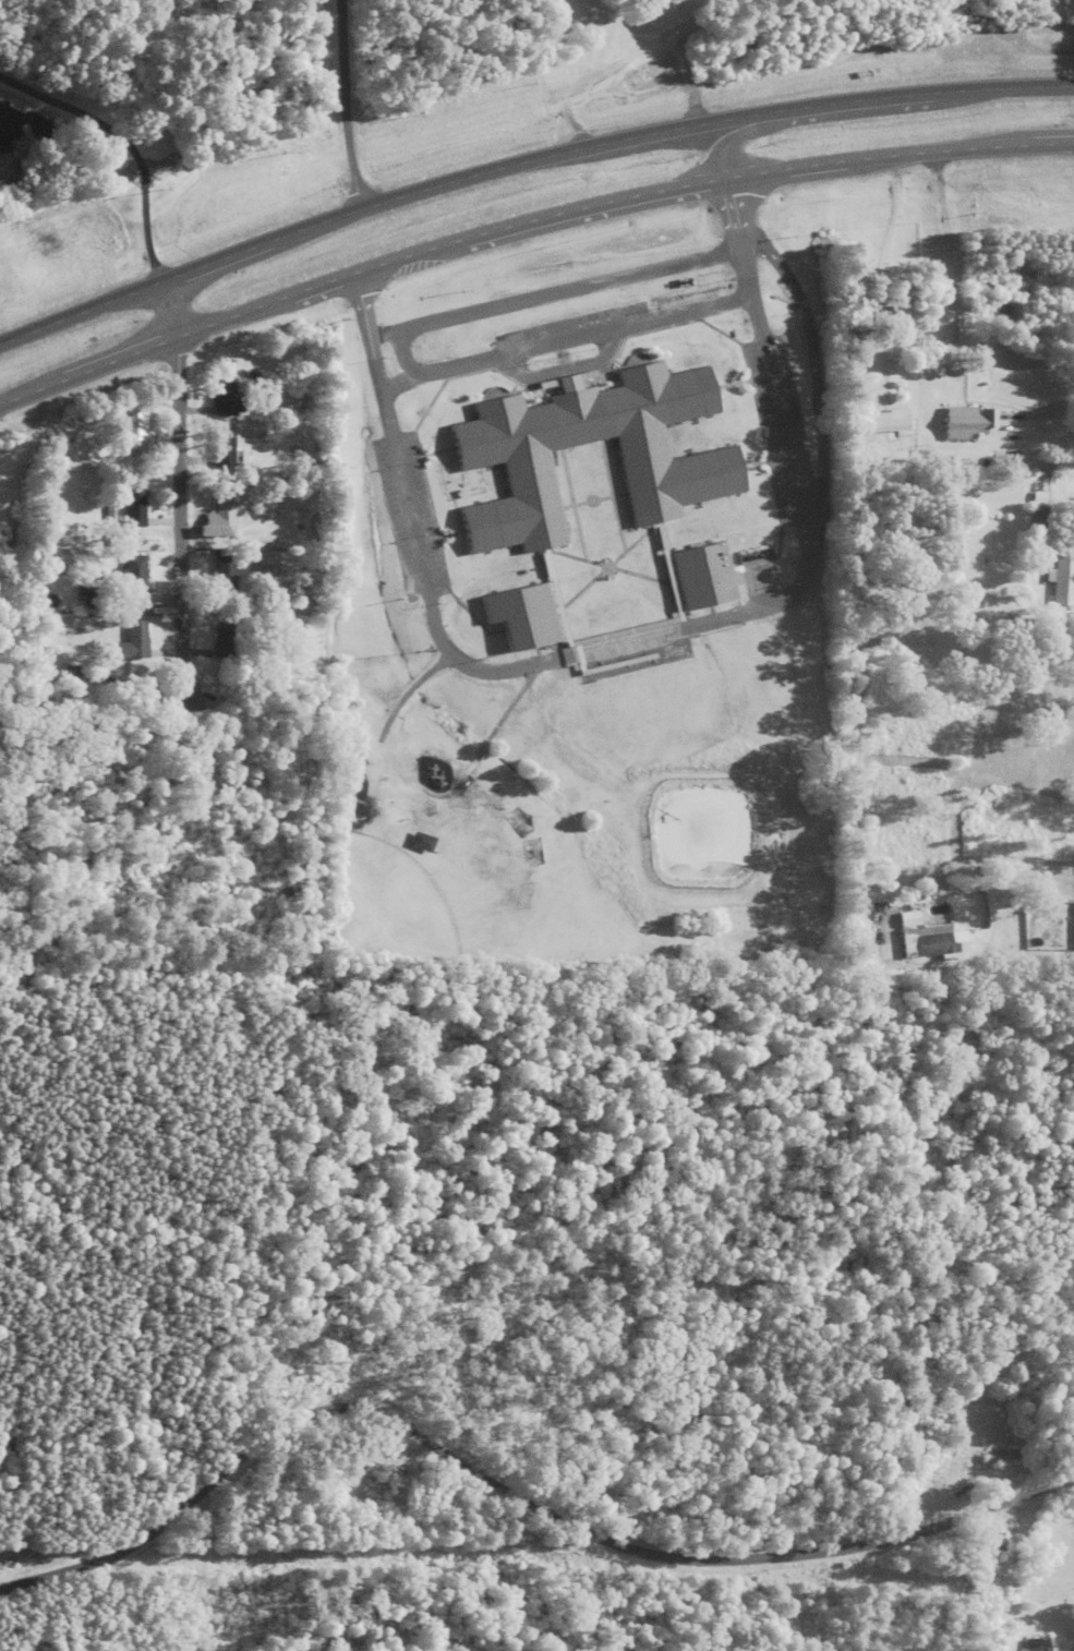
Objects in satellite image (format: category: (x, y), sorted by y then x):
road: (342, 104)
road: (746, 131)
road: (126, 145)
road: (524, 161)
road: (524, 222)
road: (555, 292)
road: (569, 339)
road: (403, 354)
road: (562, 371)
road: (1052, 399)
building: (228, 401)
building: (972, 423)
building: (135, 432)
building: (225, 449)
building: (502, 455)
road: (176, 489)
building: (135, 509)
building: (221, 522)
building: (663, 542)
building: (704, 575)
building: (131, 577)
building: (226, 581)
building: (1064, 582)
building: (524, 615)
road: (633, 641)
building: (227, 642)
building: (134, 646)
building: (422, 845)
building: (934, 943)
road: (982, 963)
building: (1000, 1459)
building: (389, 1482)
road: (512, 1494)
building: (993, 1548)
building: (1036, 1646)
building: (1053, 1650)

